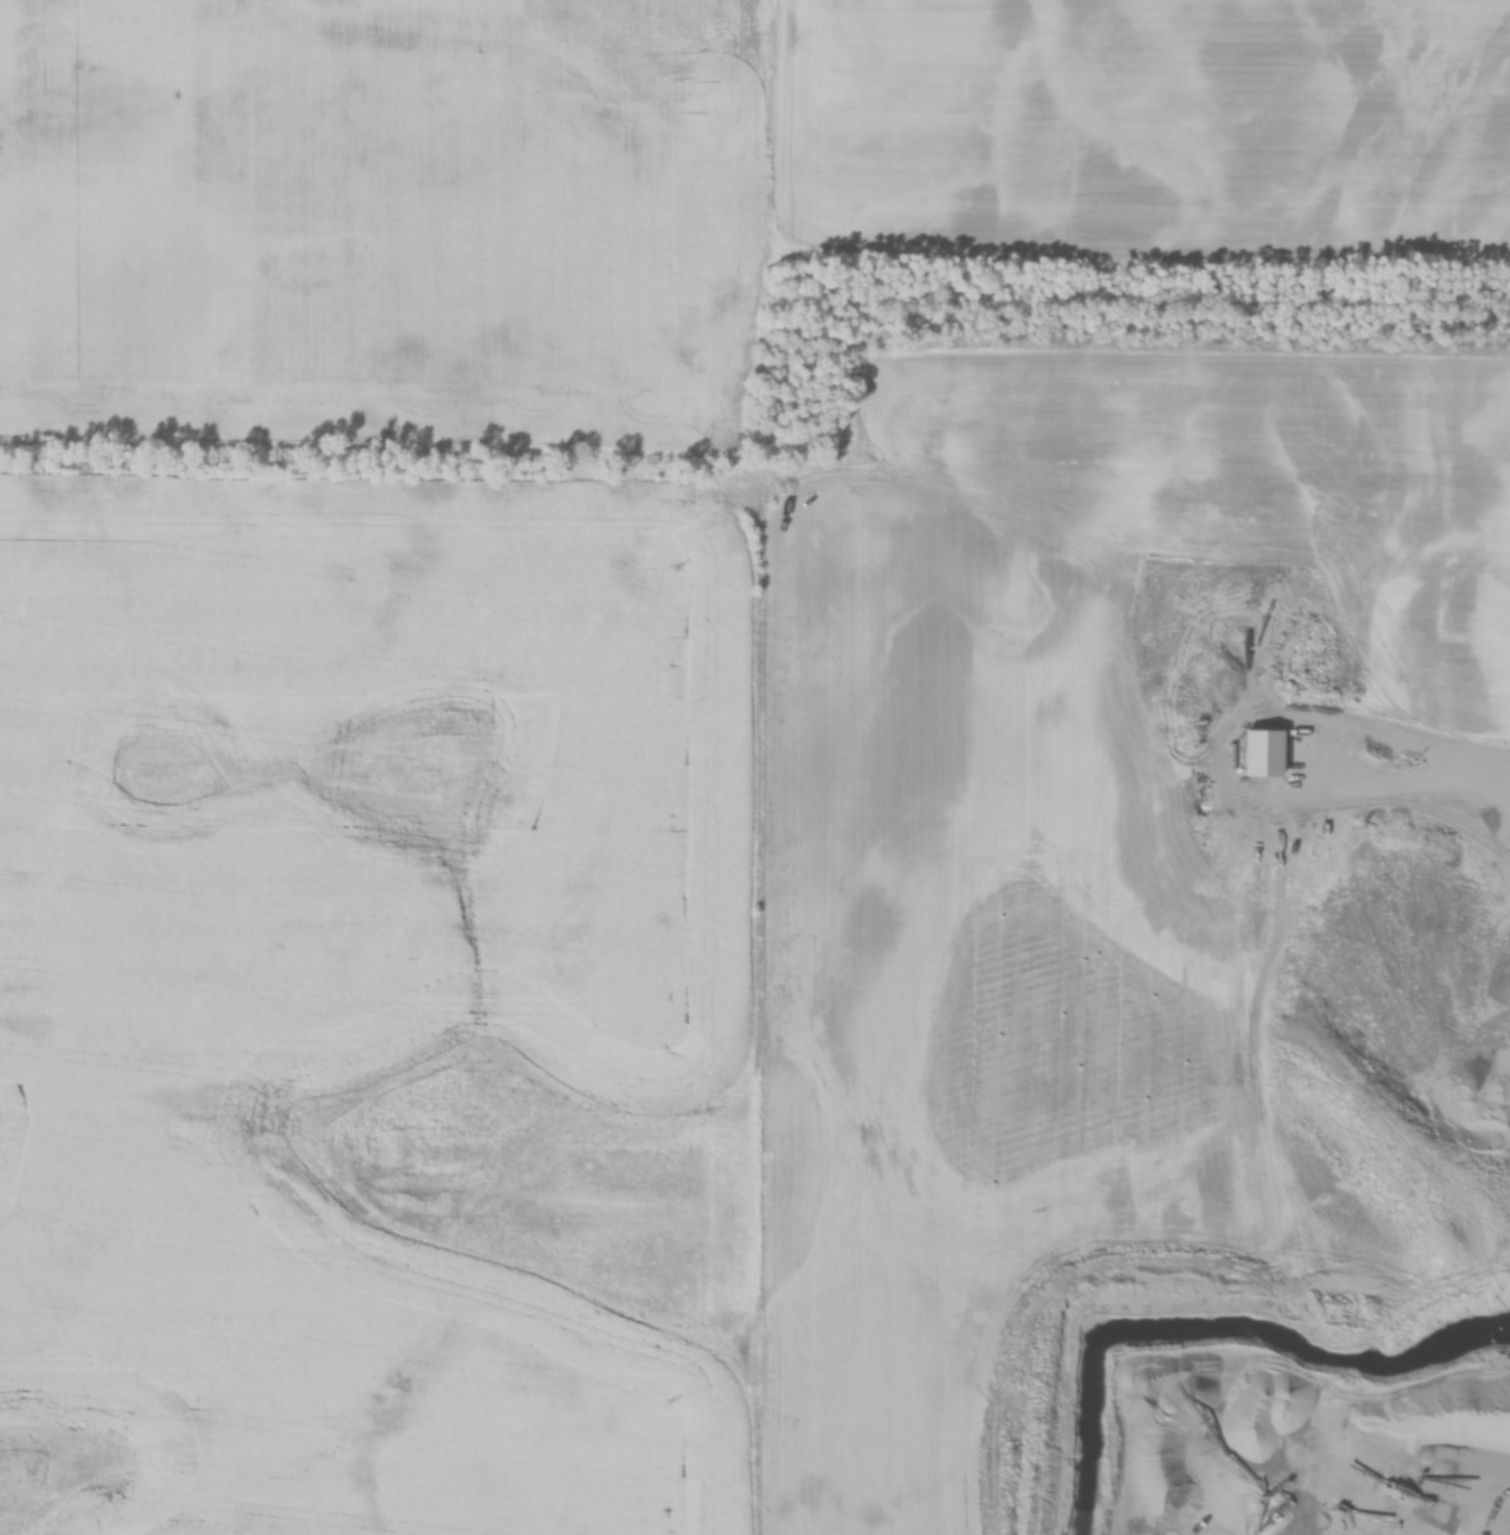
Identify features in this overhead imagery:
building: (1269, 557)
building: (1273, 650)
building: (1166, 675)
road: (1406, 747)

